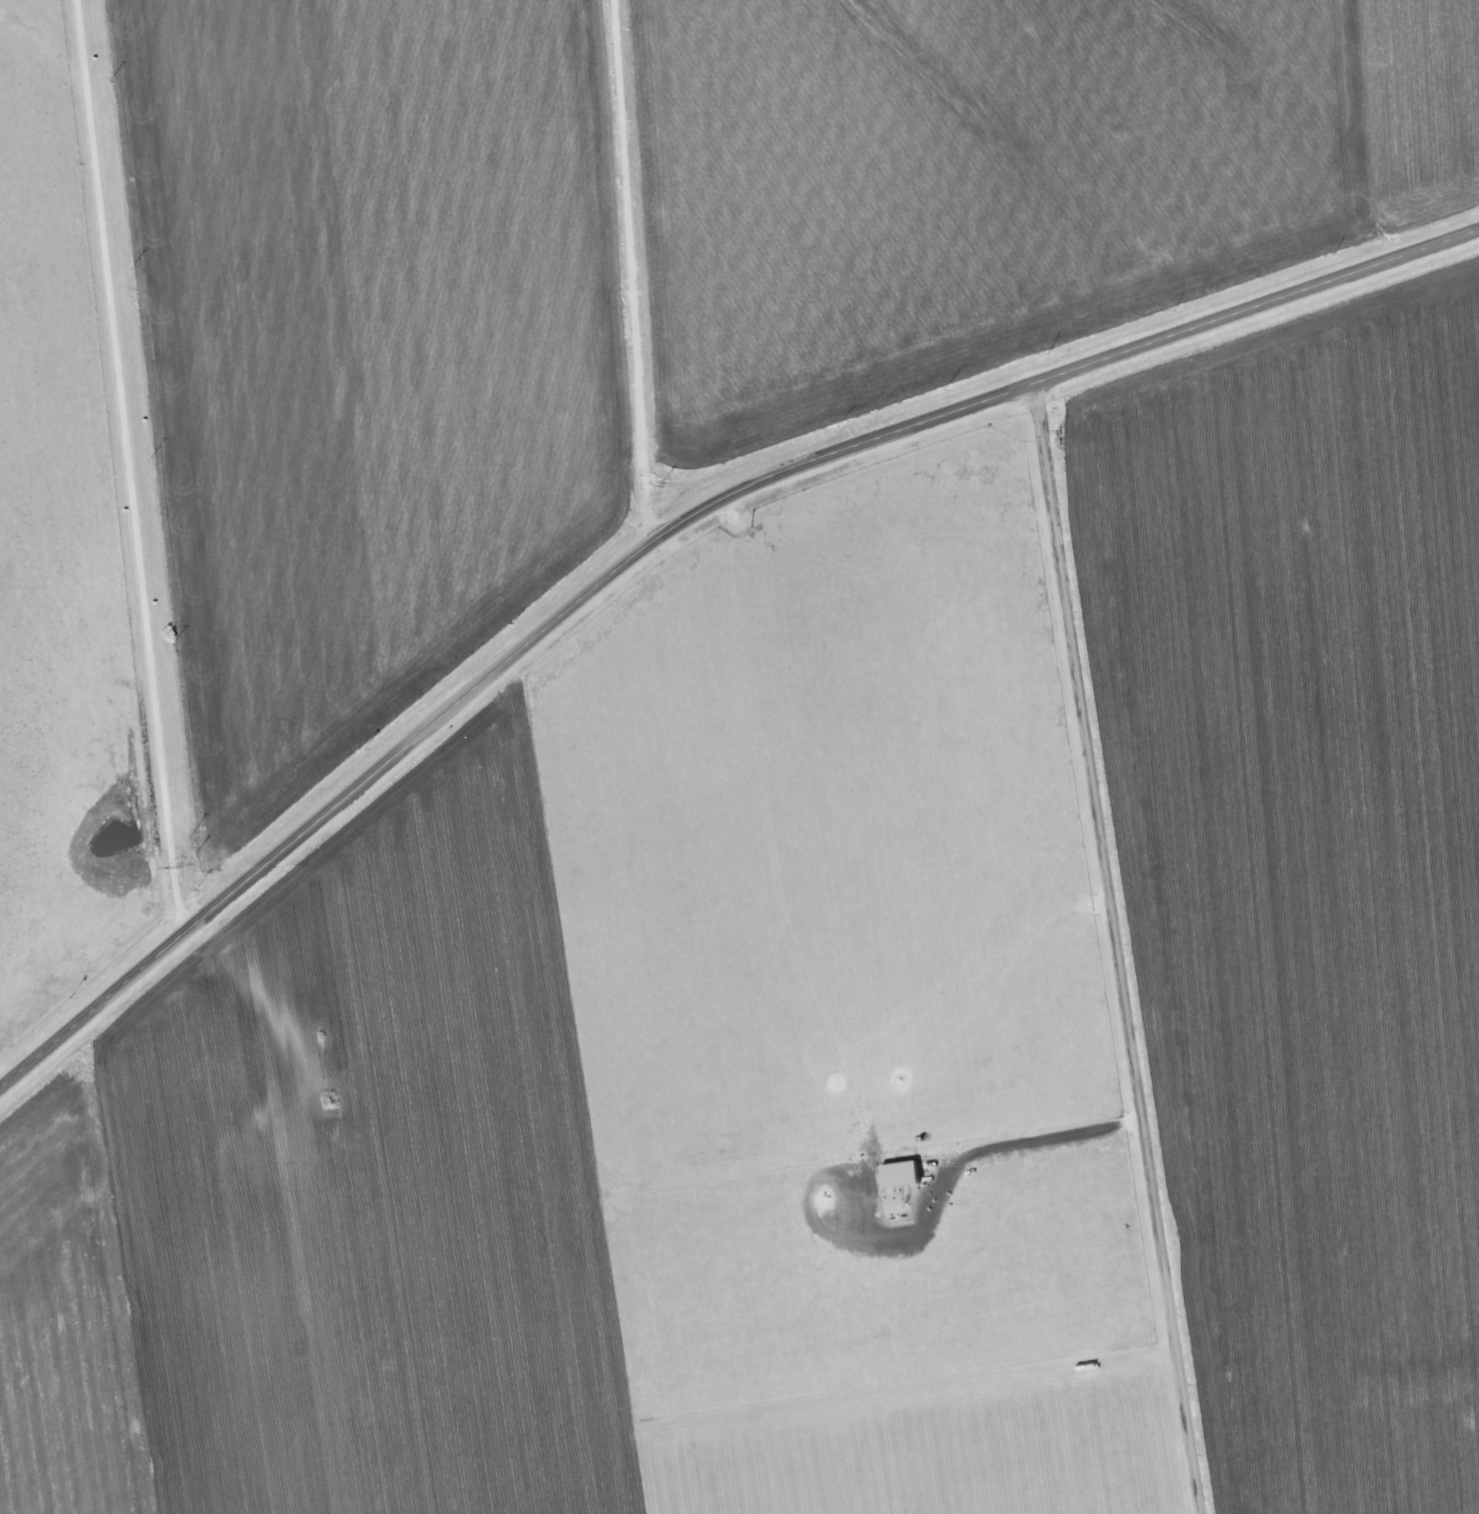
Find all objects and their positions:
road: (633, 270)
road: (125, 469)
road: (667, 536)
road: (1117, 950)
building: (897, 1175)

